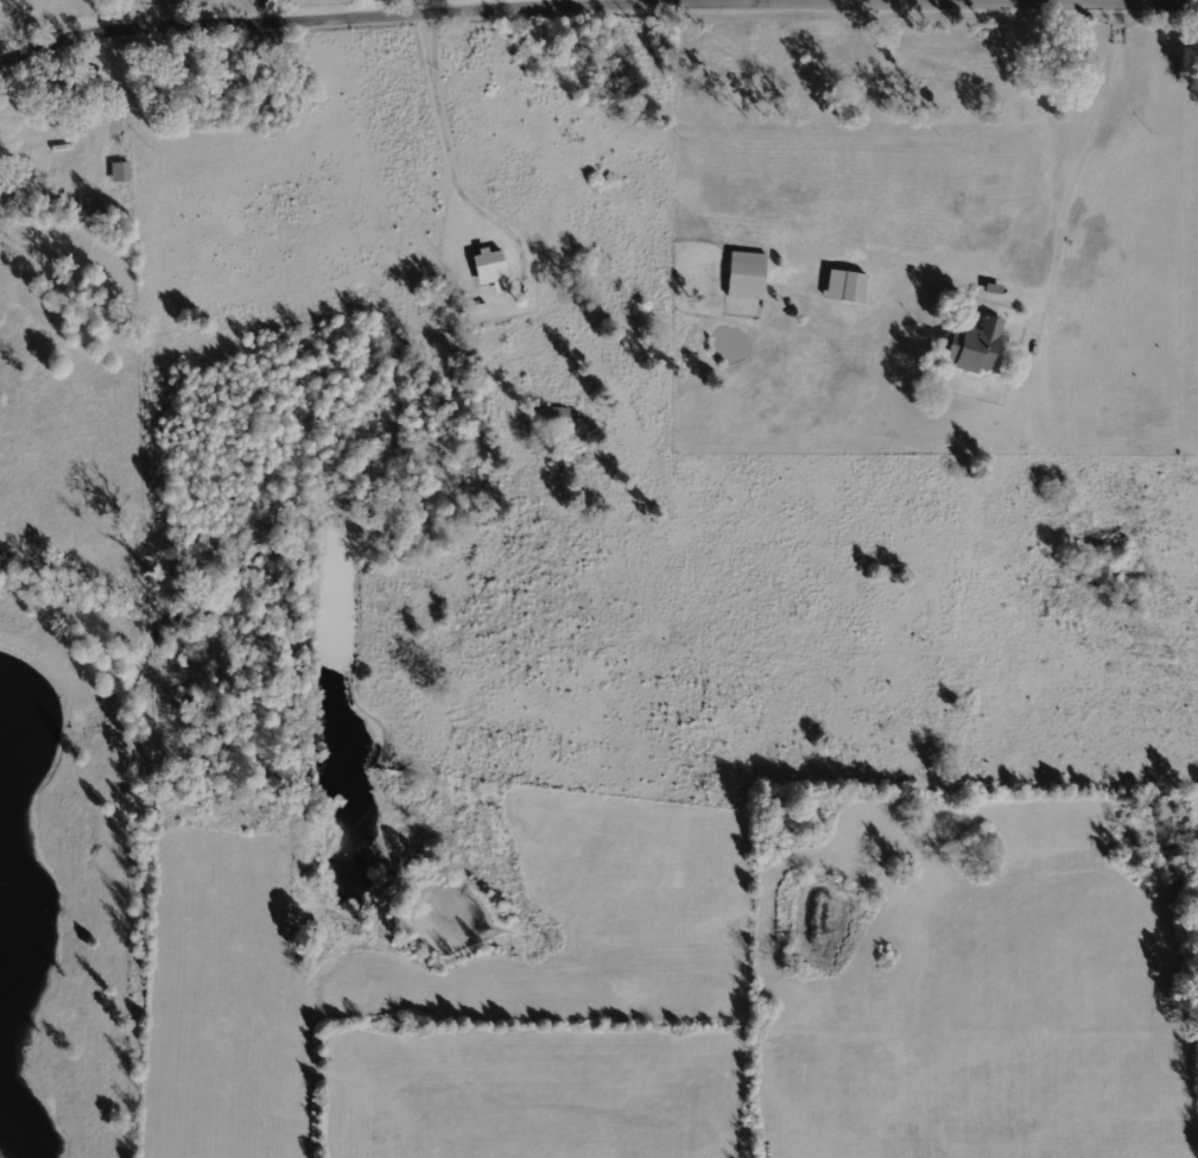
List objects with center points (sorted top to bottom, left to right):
road: (381, 8)
road: (305, 23)
building: (121, 172)
road: (1063, 233)
building: (493, 270)
building: (747, 274)
building: (847, 285)
building: (977, 346)

